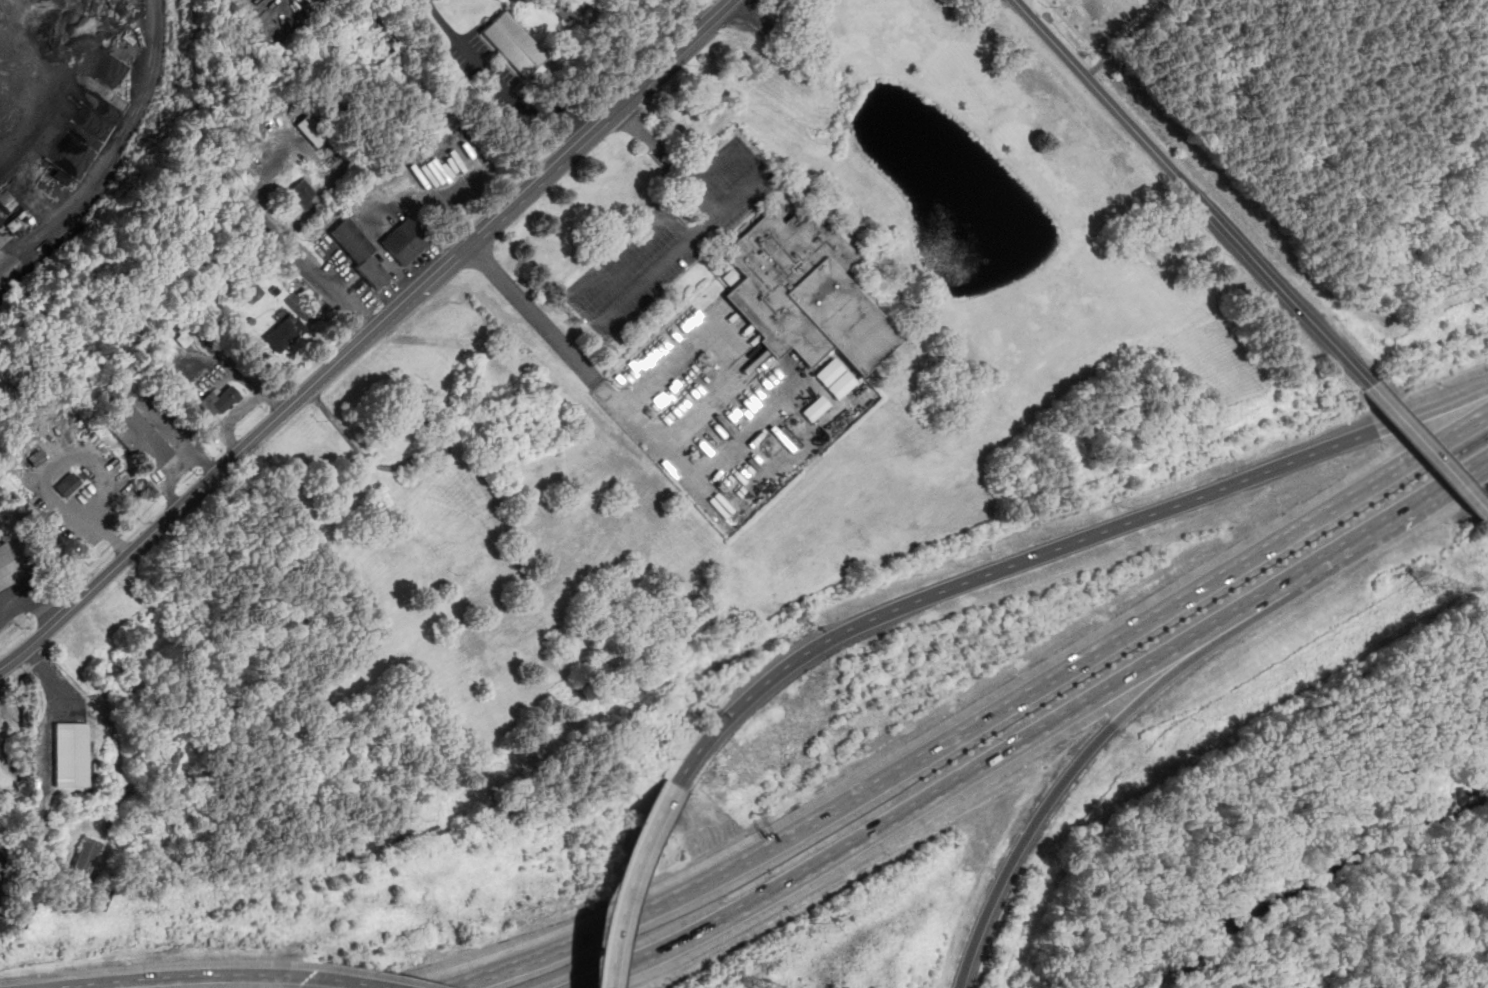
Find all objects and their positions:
building: (514, 45)
road: (674, 52)
road: (496, 82)
building: (311, 130)
road: (668, 160)
building: (303, 192)
road: (1194, 193)
building: (406, 240)
road: (467, 242)
road: (681, 249)
building: (360, 252)
road: (308, 266)
building: (251, 289)
building: (804, 290)
building: (286, 332)
road: (723, 332)
building: (835, 378)
building: (219, 400)
building: (816, 407)
road: (1435, 408)
building: (141, 438)
road: (1431, 445)
building: (68, 484)
road: (713, 499)
road: (159, 527)
road: (1364, 532)
building: (8, 568)
road: (1003, 568)
power tower: (1437, 590)
road: (31, 599)
road: (1178, 664)
road: (979, 722)
building: (72, 753)
road: (914, 806)
road: (1020, 845)
building: (86, 856)
road: (622, 881)
road: (174, 975)
road: (349, 981)

